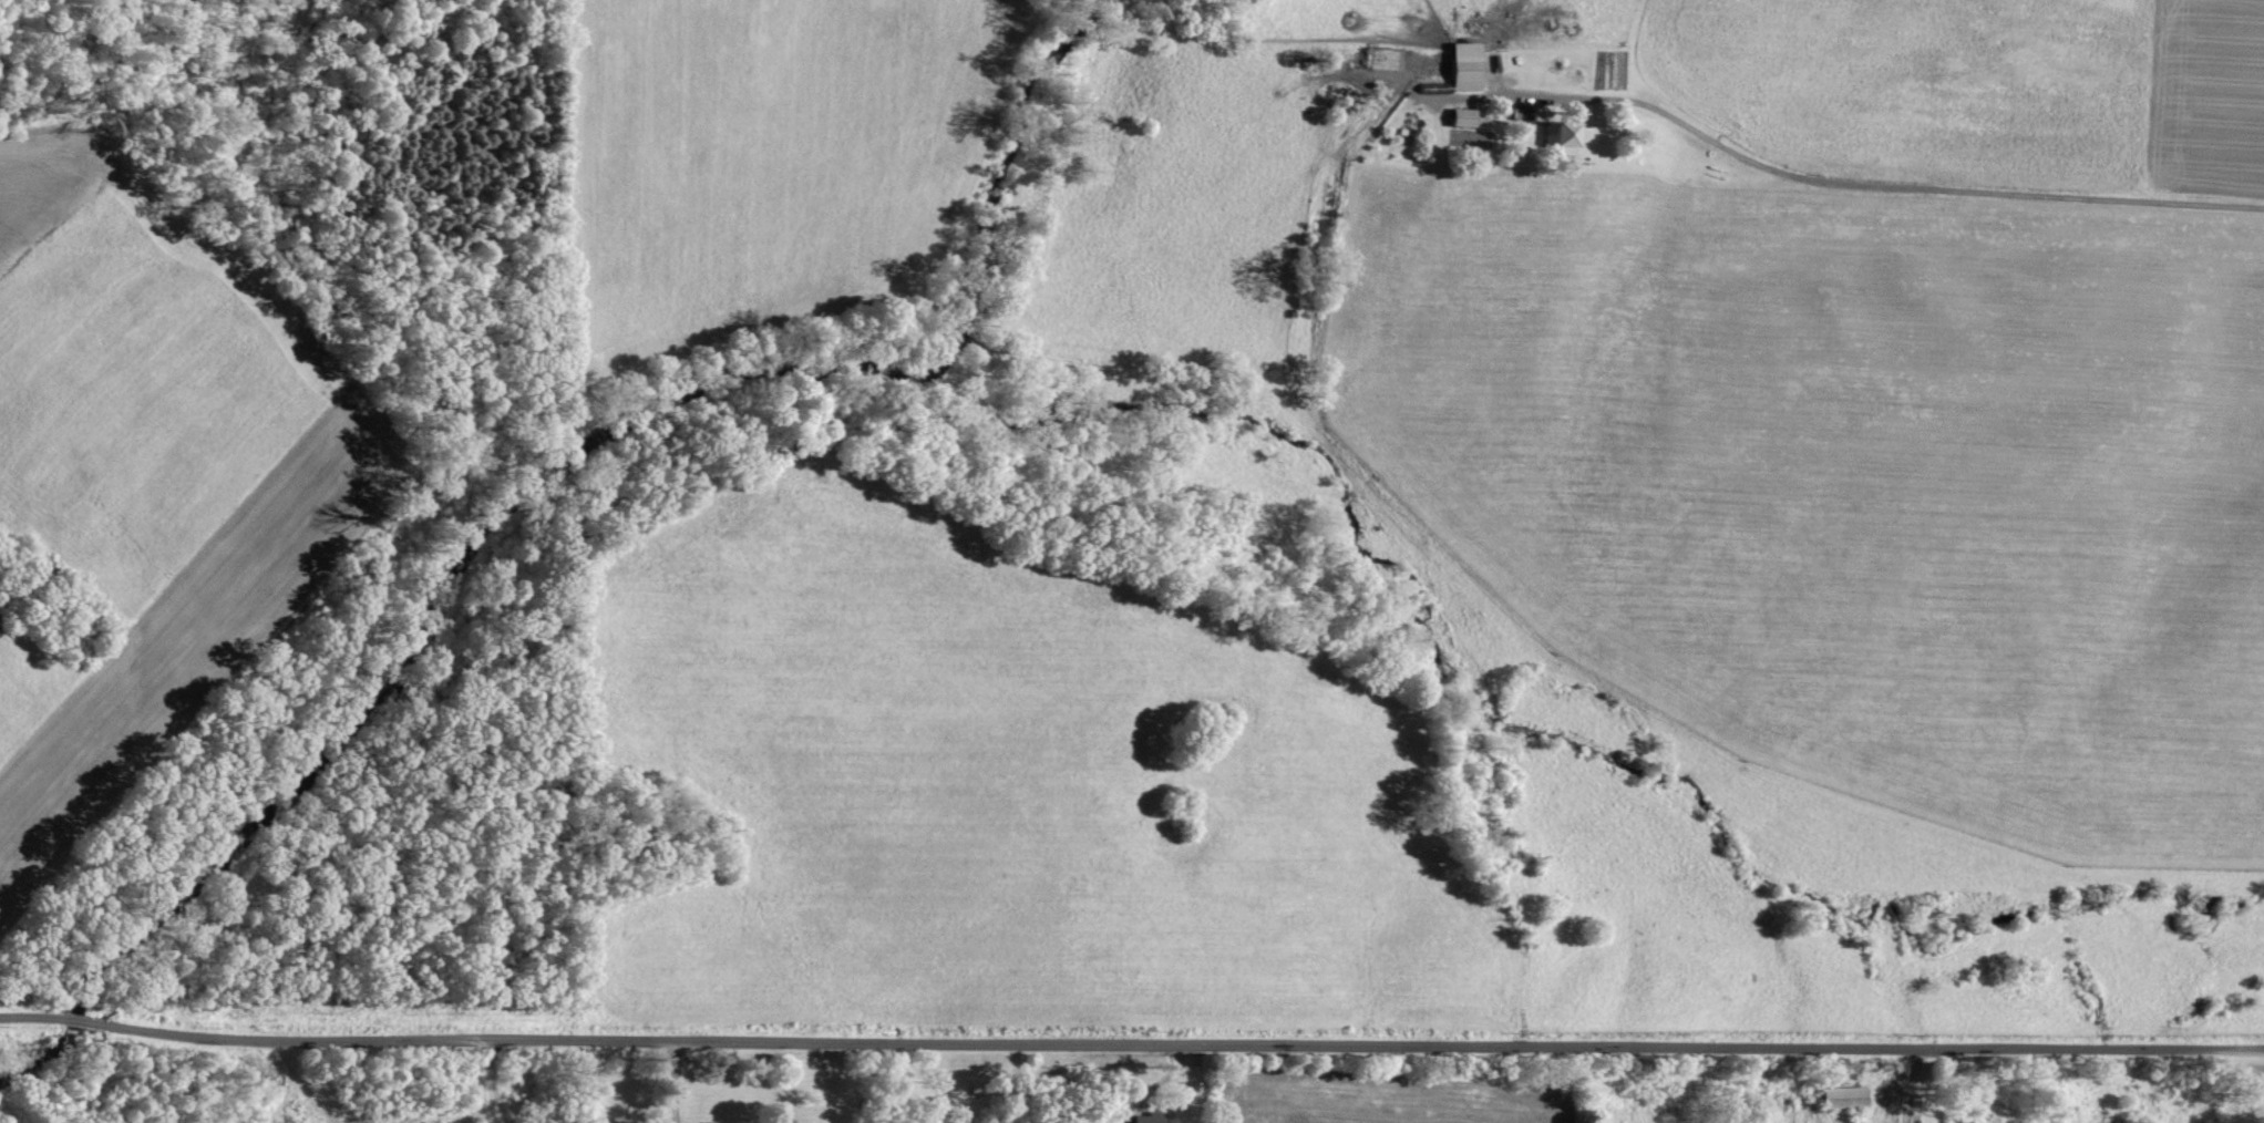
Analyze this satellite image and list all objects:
building: (1465, 65)
building: (1463, 116)
road: (1893, 188)
road: (29, 1017)
road: (76, 1020)
road: (379, 1041)
road: (1464, 1054)
road: (667, 1082)
building: (1148, 1117)

